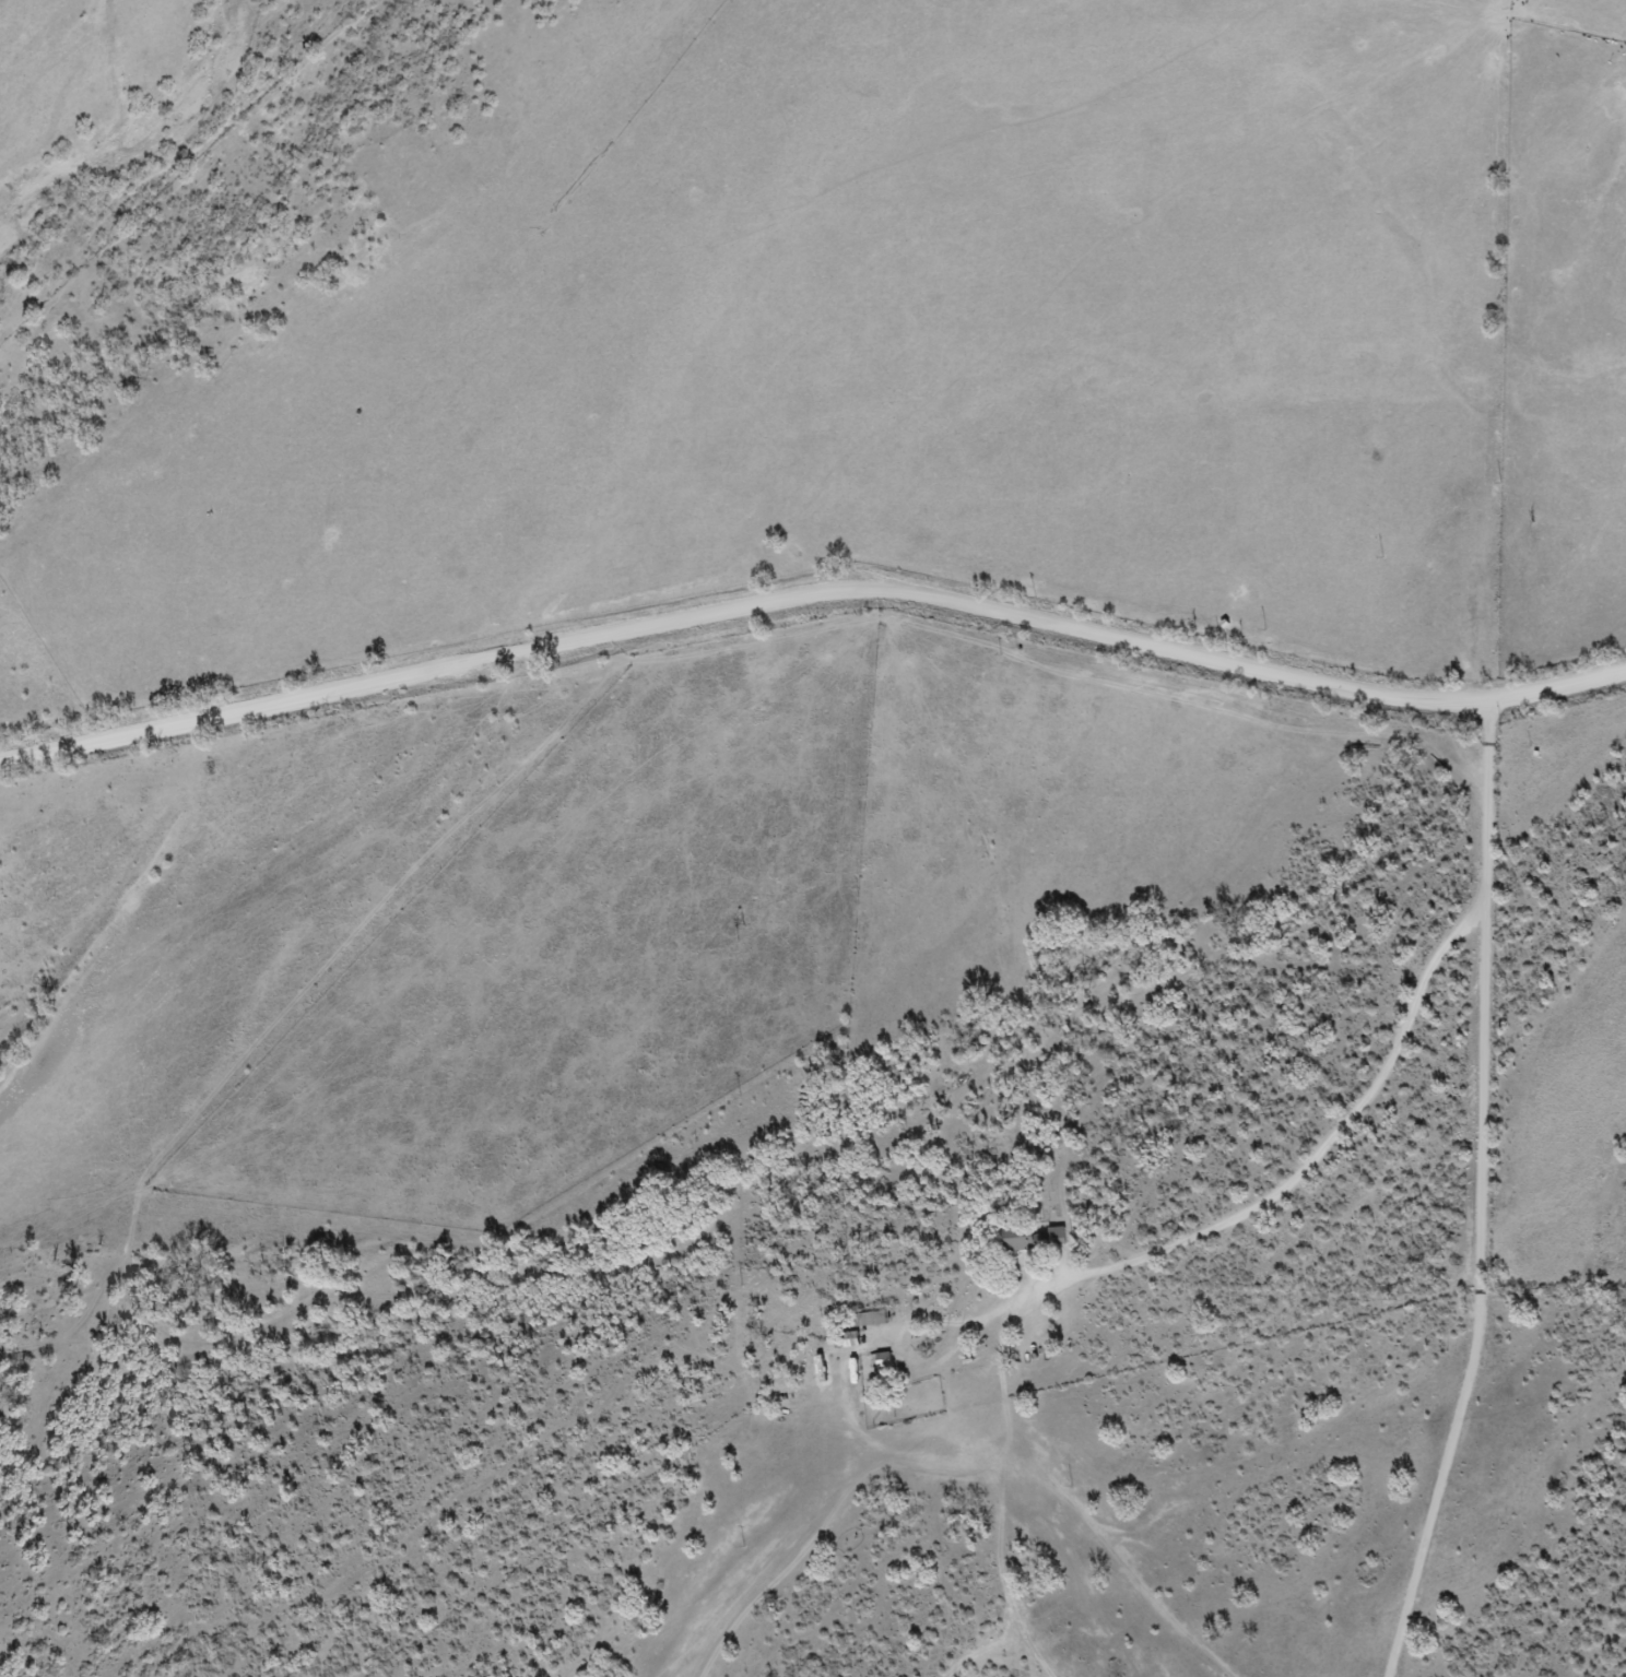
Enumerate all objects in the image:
road: (820, 646)
road: (1375, 1098)
building: (1039, 1238)
building: (872, 1319)
building: (853, 1339)
building: (884, 1365)

